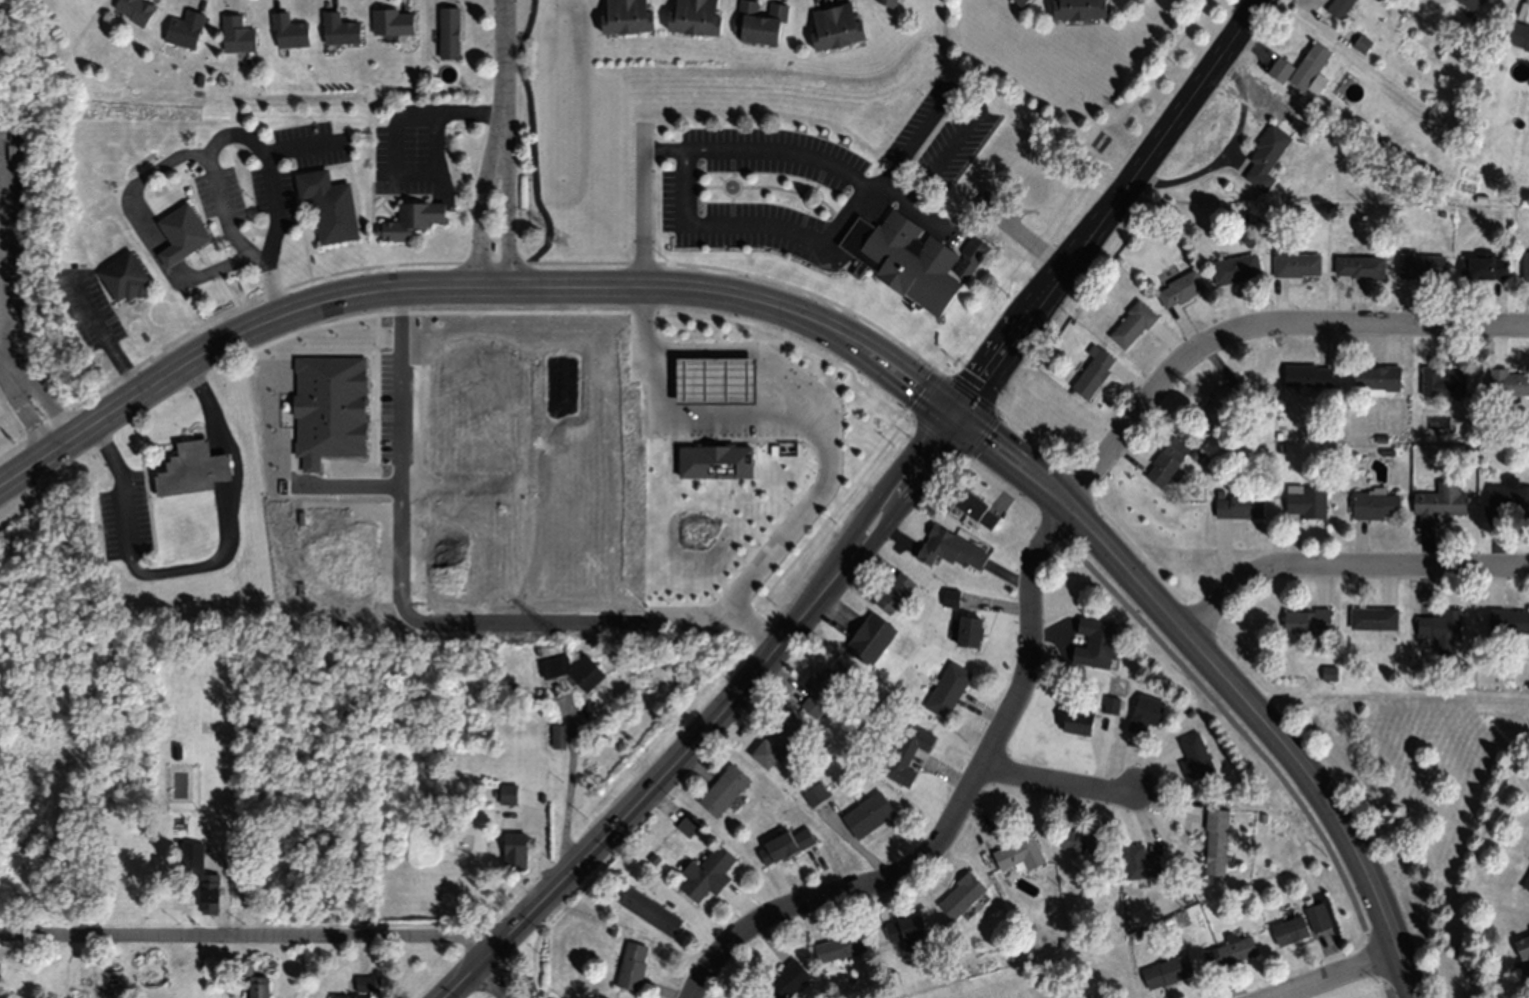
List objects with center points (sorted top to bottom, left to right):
building: (894, 1)
building: (1021, 2)
building: (1473, 3)
building: (1340, 7)
building: (1078, 8)
building: (134, 10)
building: (627, 16)
building: (695, 16)
building: (392, 21)
building: (759, 22)
building: (835, 24)
building: (184, 29)
building: (339, 29)
building: (288, 31)
building: (448, 32)
building: (1517, 33)
building: (236, 34)
building: (1362, 43)
building: (1301, 66)
road: (504, 78)
building: (1267, 156)
building: (1036, 188)
building: (328, 205)
road: (1107, 210)
road: (486, 219)
building: (409, 220)
road: (509, 220)
building: (181, 233)
power tower: (565, 241)
road: (4, 254)
building: (911, 259)
park: (23, 261)
building: (1295, 261)
building: (1422, 263)
building: (1359, 265)
building: (1525, 265)
building: (1487, 266)
building: (1236, 267)
building: (124, 277)
road: (471, 284)
building: (1180, 288)
building: (1132, 324)
road: (1370, 327)
road: (743, 349)
road: (0, 350)
building: (1093, 370)
building: (1308, 374)
building: (1377, 377)
building: (1443, 381)
building: (1509, 382)
building: (1225, 402)
road: (22, 406)
road: (808, 423)
building: (1166, 461)
building: (191, 469)
building: (1306, 500)
building: (1441, 500)
building: (1508, 500)
building: (1239, 504)
building: (1376, 504)
building: (977, 510)
building: (950, 549)
road: (206, 566)
road: (1343, 566)
building: (895, 592)
building: (950, 597)
road: (412, 617)
building: (1373, 618)
building: (1306, 619)
building: (1508, 619)
building: (1441, 624)
building: (968, 629)
building: (869, 637)
building: (1096, 641)
power tower: (564, 644)
building: (573, 669)
road: (1221, 682)
building: (819, 689)
building: (947, 689)
building: (1112, 704)
building: (1145, 712)
road: (1006, 718)
road: (715, 720)
building: (1079, 720)
building: (558, 735)
building: (777, 738)
building: (907, 752)
building: (1195, 756)
road: (1057, 781)
building: (722, 789)
building: (507, 793)
building: (814, 793)
park: (1416, 797)
building: (867, 814)
building: (687, 825)
building: (1081, 840)
building: (1216, 841)
building: (785, 844)
building: (514, 849)
building: (1018, 853)
building: (191, 855)
building: (1140, 862)
building: (706, 873)
building: (1526, 883)
building: (208, 893)
building: (960, 895)
building: (649, 910)
building: (1318, 915)
building: (1290, 929)
building: (906, 930)
road: (251, 933)
building: (839, 945)
building: (1524, 950)
building: (1230, 951)
building: (631, 965)
building: (1165, 972)
building: (154, 974)
road: (1340, 977)
building: (784, 980)
road: (490, 984)
building: (257, 986)
building: (360, 988)

